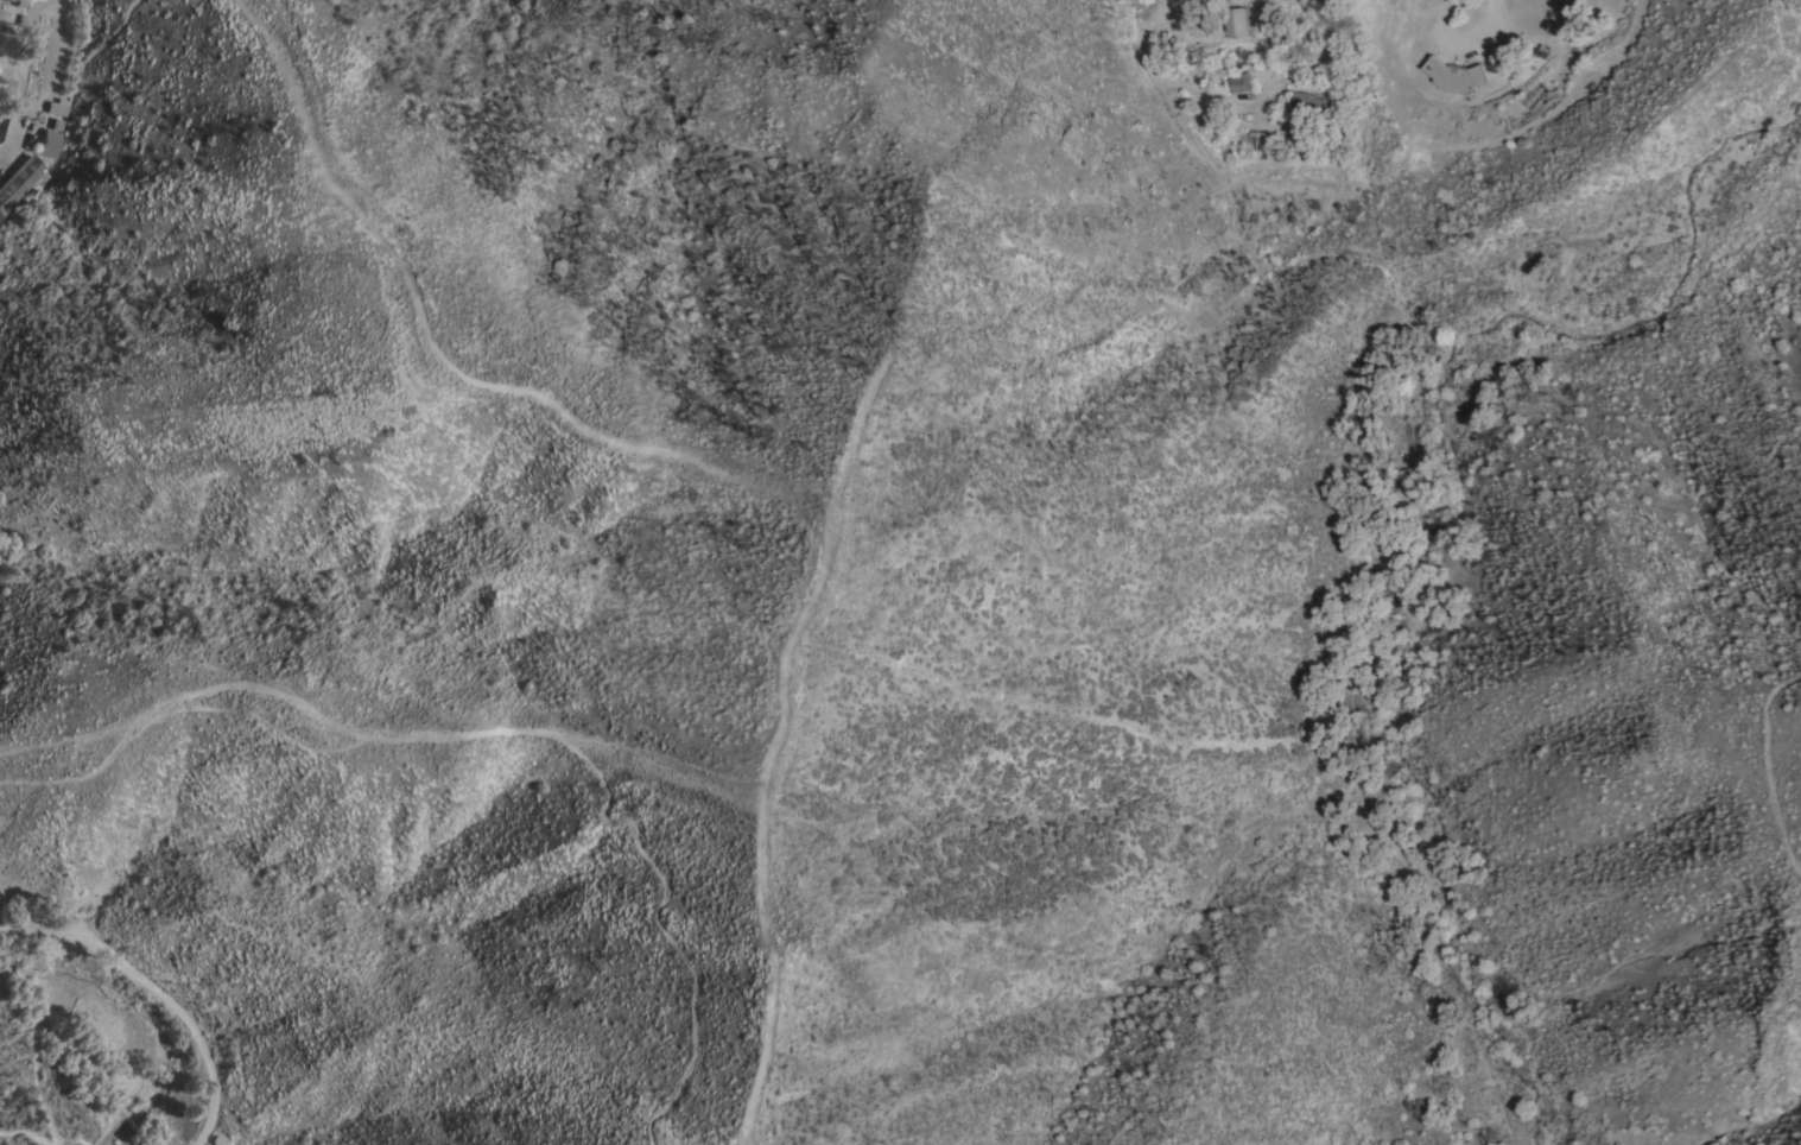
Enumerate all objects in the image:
building: (1235, 20)
road: (1469, 40)
building: (1454, 74)
building: (1241, 80)
building: (5, 87)
building: (1307, 103)
building: (57, 106)
building: (1255, 138)
building: (50, 144)
building: (20, 179)
road: (1769, 765)

